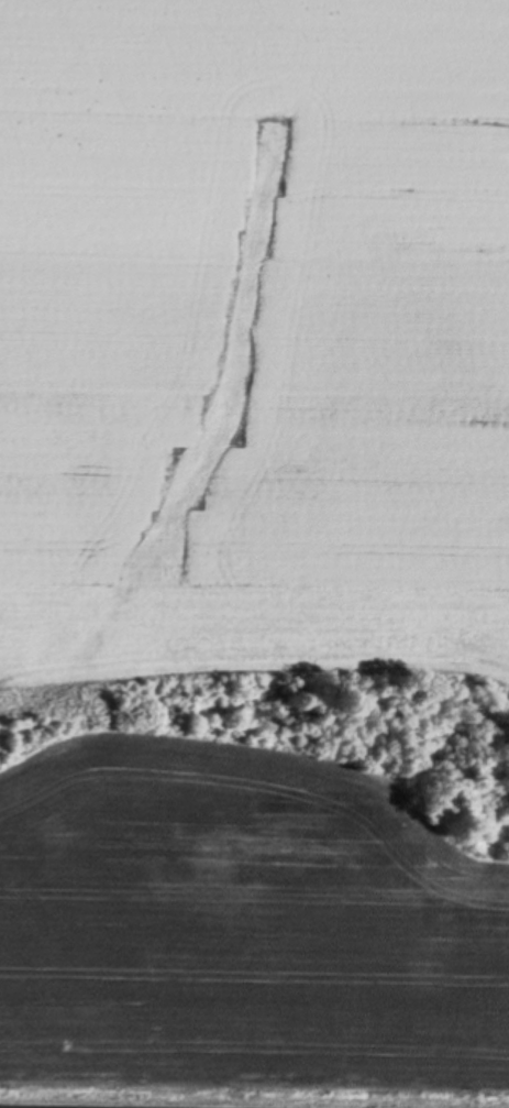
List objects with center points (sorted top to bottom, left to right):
road: (180, 1102)

